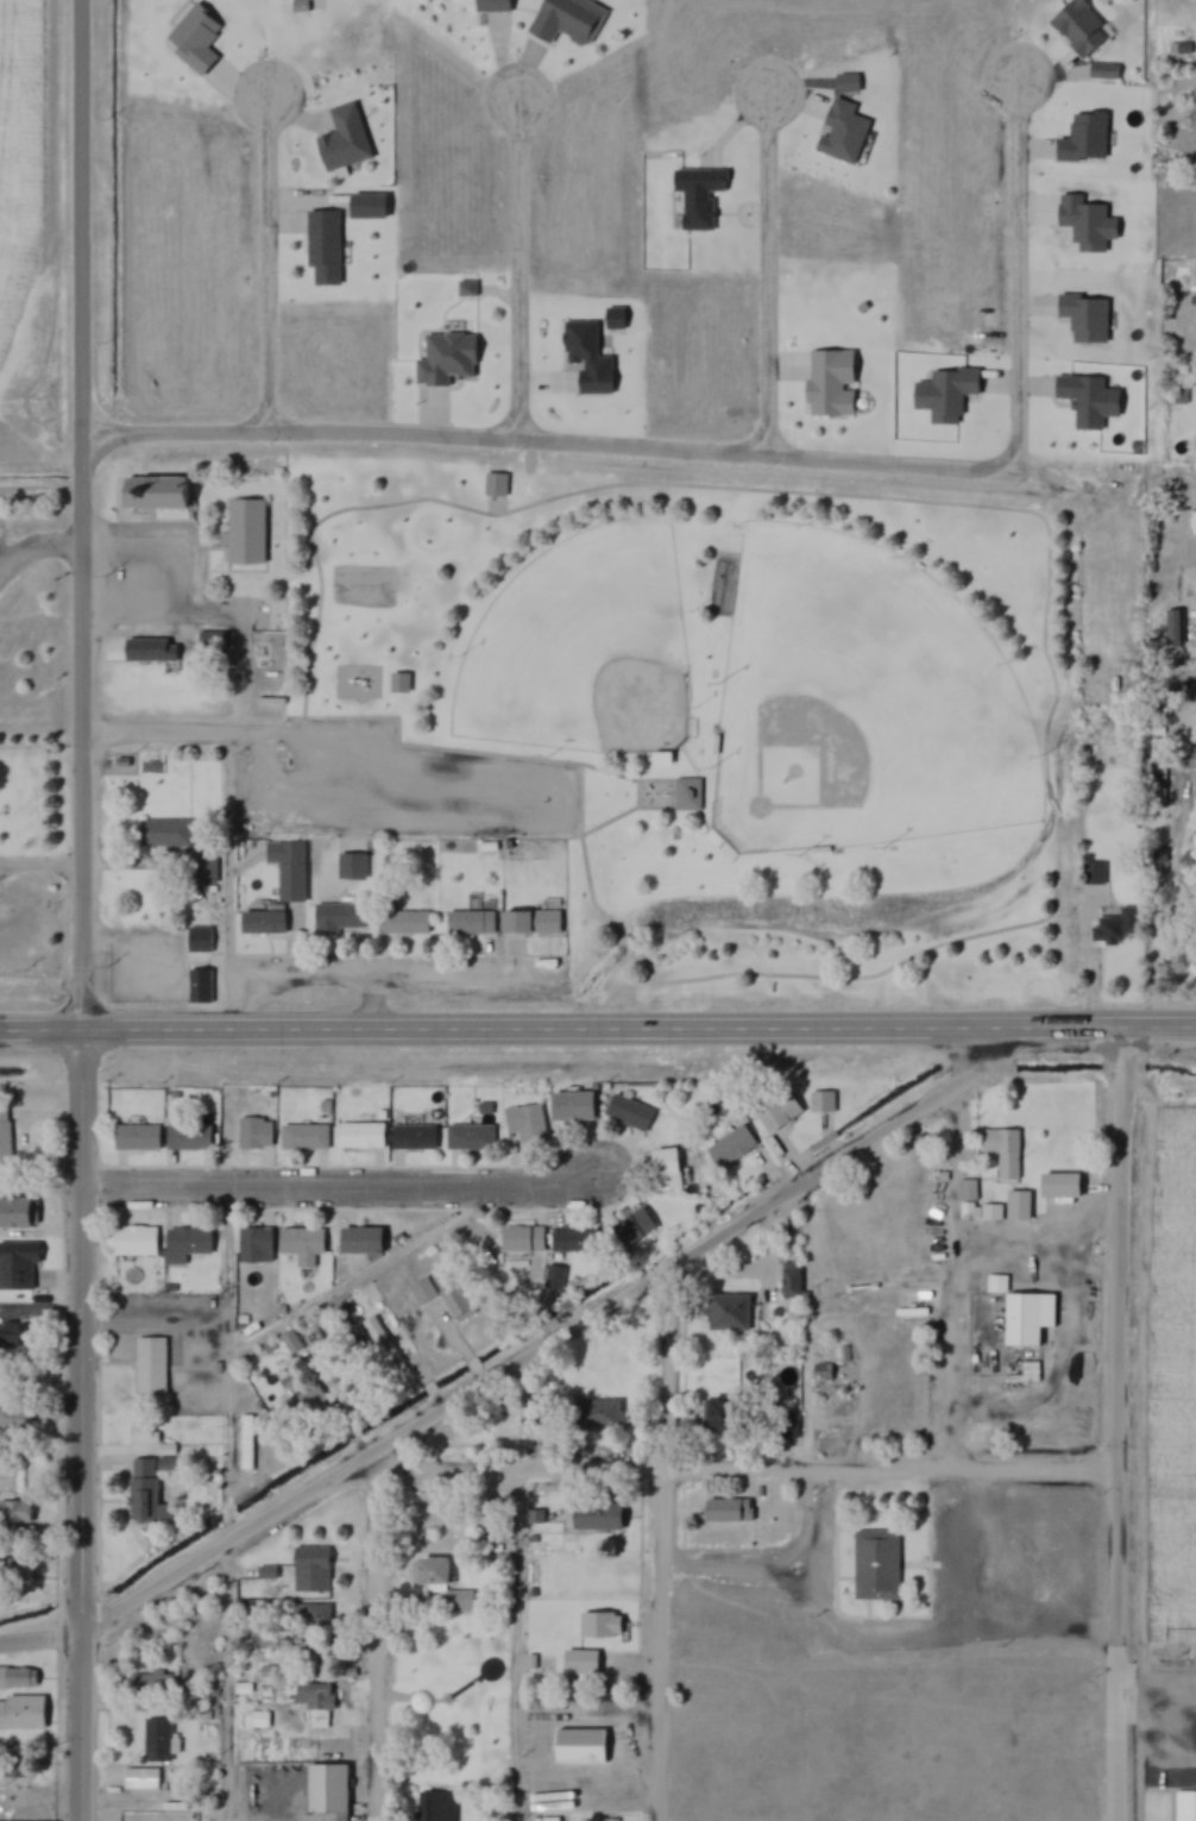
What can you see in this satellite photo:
building: (498, 8)
building: (571, 23)
building: (1084, 31)
building: (1109, 75)
building: (846, 82)
building: (855, 88)
building: (850, 136)
building: (350, 140)
building: (703, 197)
building: (328, 252)
road: (266, 263)
road: (517, 270)
road: (767, 272)
road: (1016, 272)
building: (472, 293)
building: (1090, 321)
building: (453, 363)
building: (838, 387)
building: (1181, 395)
road: (548, 442)
road: (717, 486)
building: (501, 489)
building: (162, 496)
road: (80, 515)
building: (252, 539)
building: (1175, 628)
building: (213, 641)
building: (156, 648)
park: (583, 648)
building: (404, 686)
park: (717, 690)
park: (862, 701)
road: (243, 707)
road: (158, 734)
building: (661, 759)
road: (558, 761)
parking lot: (391, 781)
building: (692, 797)
road: (585, 798)
road: (555, 808)
road: (1057, 809)
building: (171, 839)
building: (512, 846)
building: (291, 856)
building: (206, 868)
building: (357, 871)
building: (298, 888)
building: (344, 918)
building: (409, 925)
building: (479, 925)
building: (537, 925)
building: (1115, 927)
building: (269, 929)
road: (628, 938)
building: (203, 942)
road: (888, 968)
road: (384, 972)
building: (206, 990)
road: (376, 1001)
road: (598, 1030)
traffic signals: (82, 1031)
building: (822, 1103)
building: (574, 1107)
building: (779, 1112)
building: (629, 1113)
building: (527, 1123)
building: (256, 1134)
building: (5, 1136)
building: (361, 1136)
building: (137, 1137)
building: (189, 1137)
building: (470, 1137)
building: (306, 1138)
building: (414, 1138)
building: (731, 1148)
building: (1002, 1148)
building: (666, 1169)
road: (342, 1186)
building: (1065, 1186)
building: (976, 1205)
building: (19, 1214)
building: (1018, 1216)
building: (635, 1226)
road: (1039, 1238)
building: (523, 1239)
building: (574, 1239)
building: (136, 1242)
building: (361, 1242)
building: (187, 1245)
building: (256, 1245)
building: (303, 1245)
road: (1119, 1249)
building: (18, 1266)
building: (555, 1277)
road: (961, 1277)
building: (791, 1280)
building: (422, 1292)
building: (458, 1304)
building: (728, 1313)
road: (156, 1314)
building: (1026, 1315)
building: (14, 1336)
road: (559, 1343)
building: (157, 1370)
building: (14, 1413)
building: (598, 1415)
building: (718, 1415)
building: (787, 1425)
road: (80, 1426)
building: (246, 1443)
road: (737, 1469)
building: (146, 1492)
road: (227, 1503)
building: (15, 1512)
building: (596, 1515)
building: (732, 1517)
road: (665, 1547)
road: (978, 1553)
road: (743, 1562)
building: (311, 1570)
building: (883, 1572)
building: (445, 1585)
building: (310, 1616)
building: (600, 1626)
road: (890, 1635)
road: (40, 1638)
road: (376, 1644)
road: (518, 1644)
road: (1118, 1645)
building: (310, 1659)
building: (587, 1664)
building: (18, 1679)
building: (151, 1682)
building: (315, 1696)
park: (449, 1696)
water tower: (455, 1708)
building: (23, 1714)
building: (158, 1741)
building: (587, 1747)
building: (17, 1766)
building: (143, 1779)
building: (573, 1784)
building: (329, 1791)
building: (21, 1797)
building: (1184, 1804)
building: (435, 1807)
building: (609, 1820)

